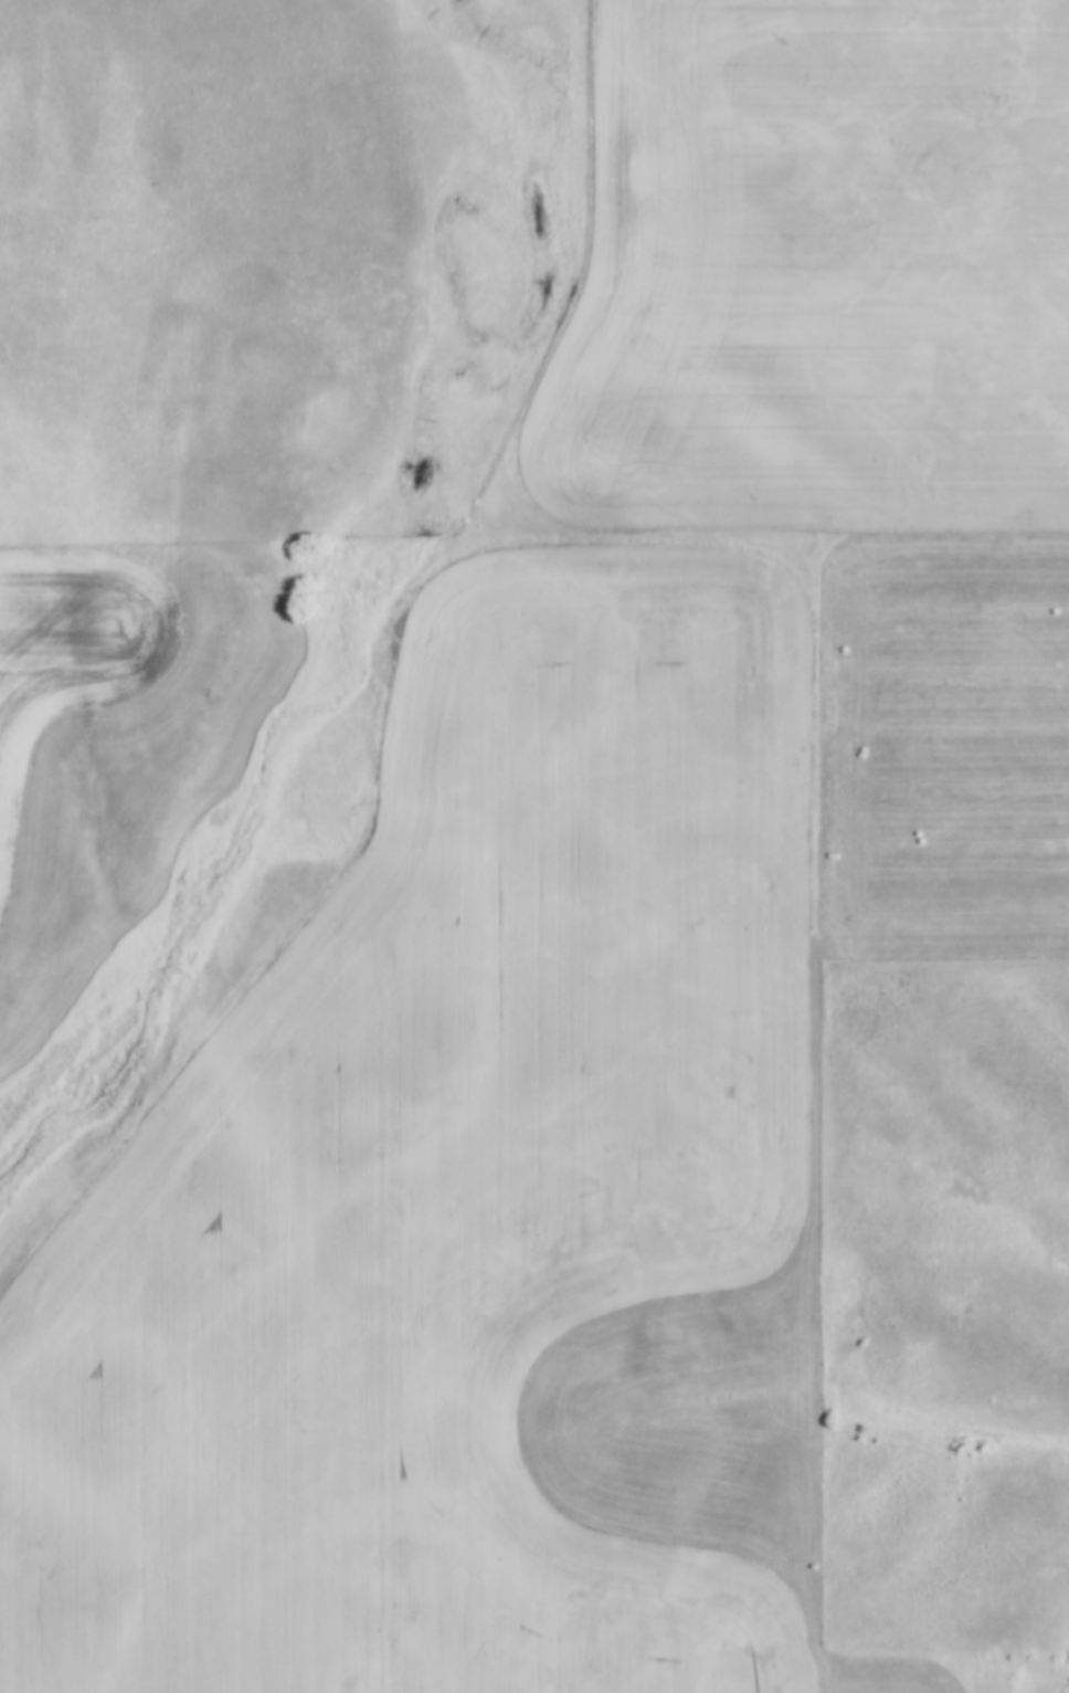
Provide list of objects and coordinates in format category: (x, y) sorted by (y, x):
road: (803, 1338)
road: (519, 1436)

